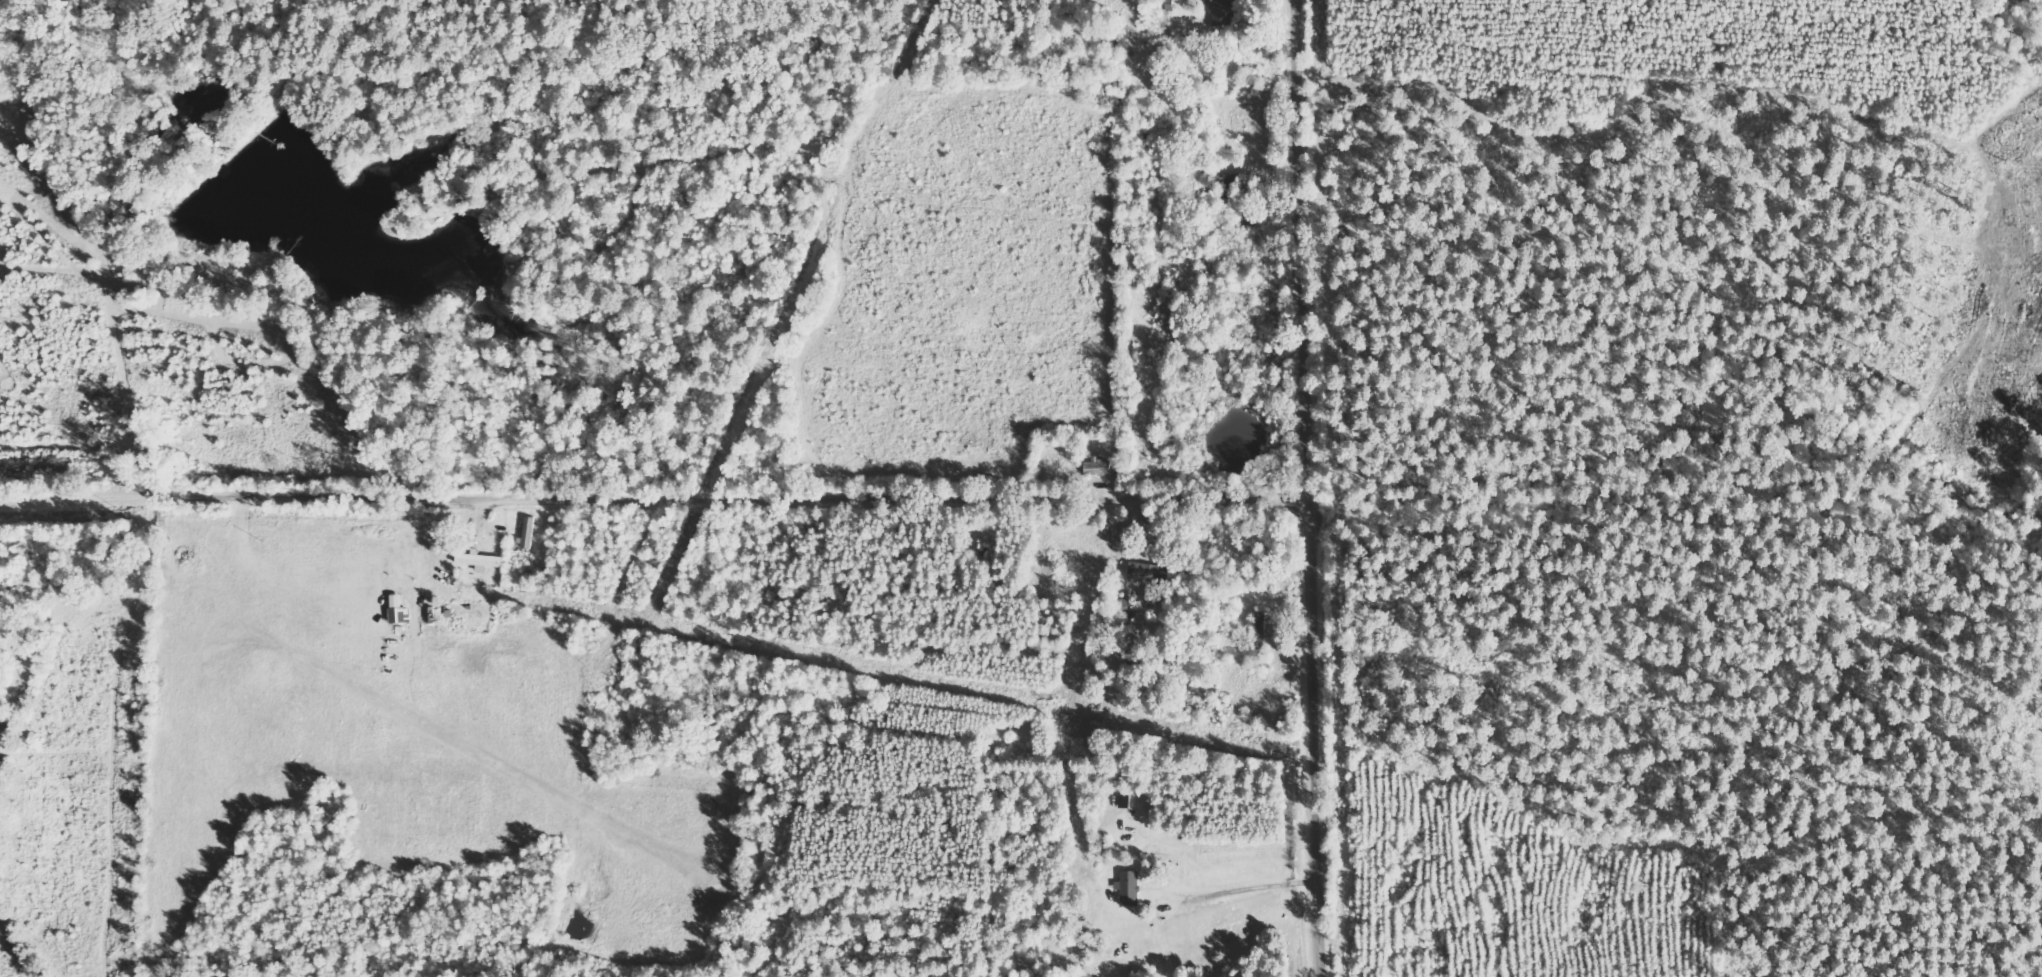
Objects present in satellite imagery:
building: (1224, 10)
road: (1311, 488)
road: (655, 507)
building: (480, 560)
building: (1144, 572)
building: (400, 610)
building: (1131, 888)

